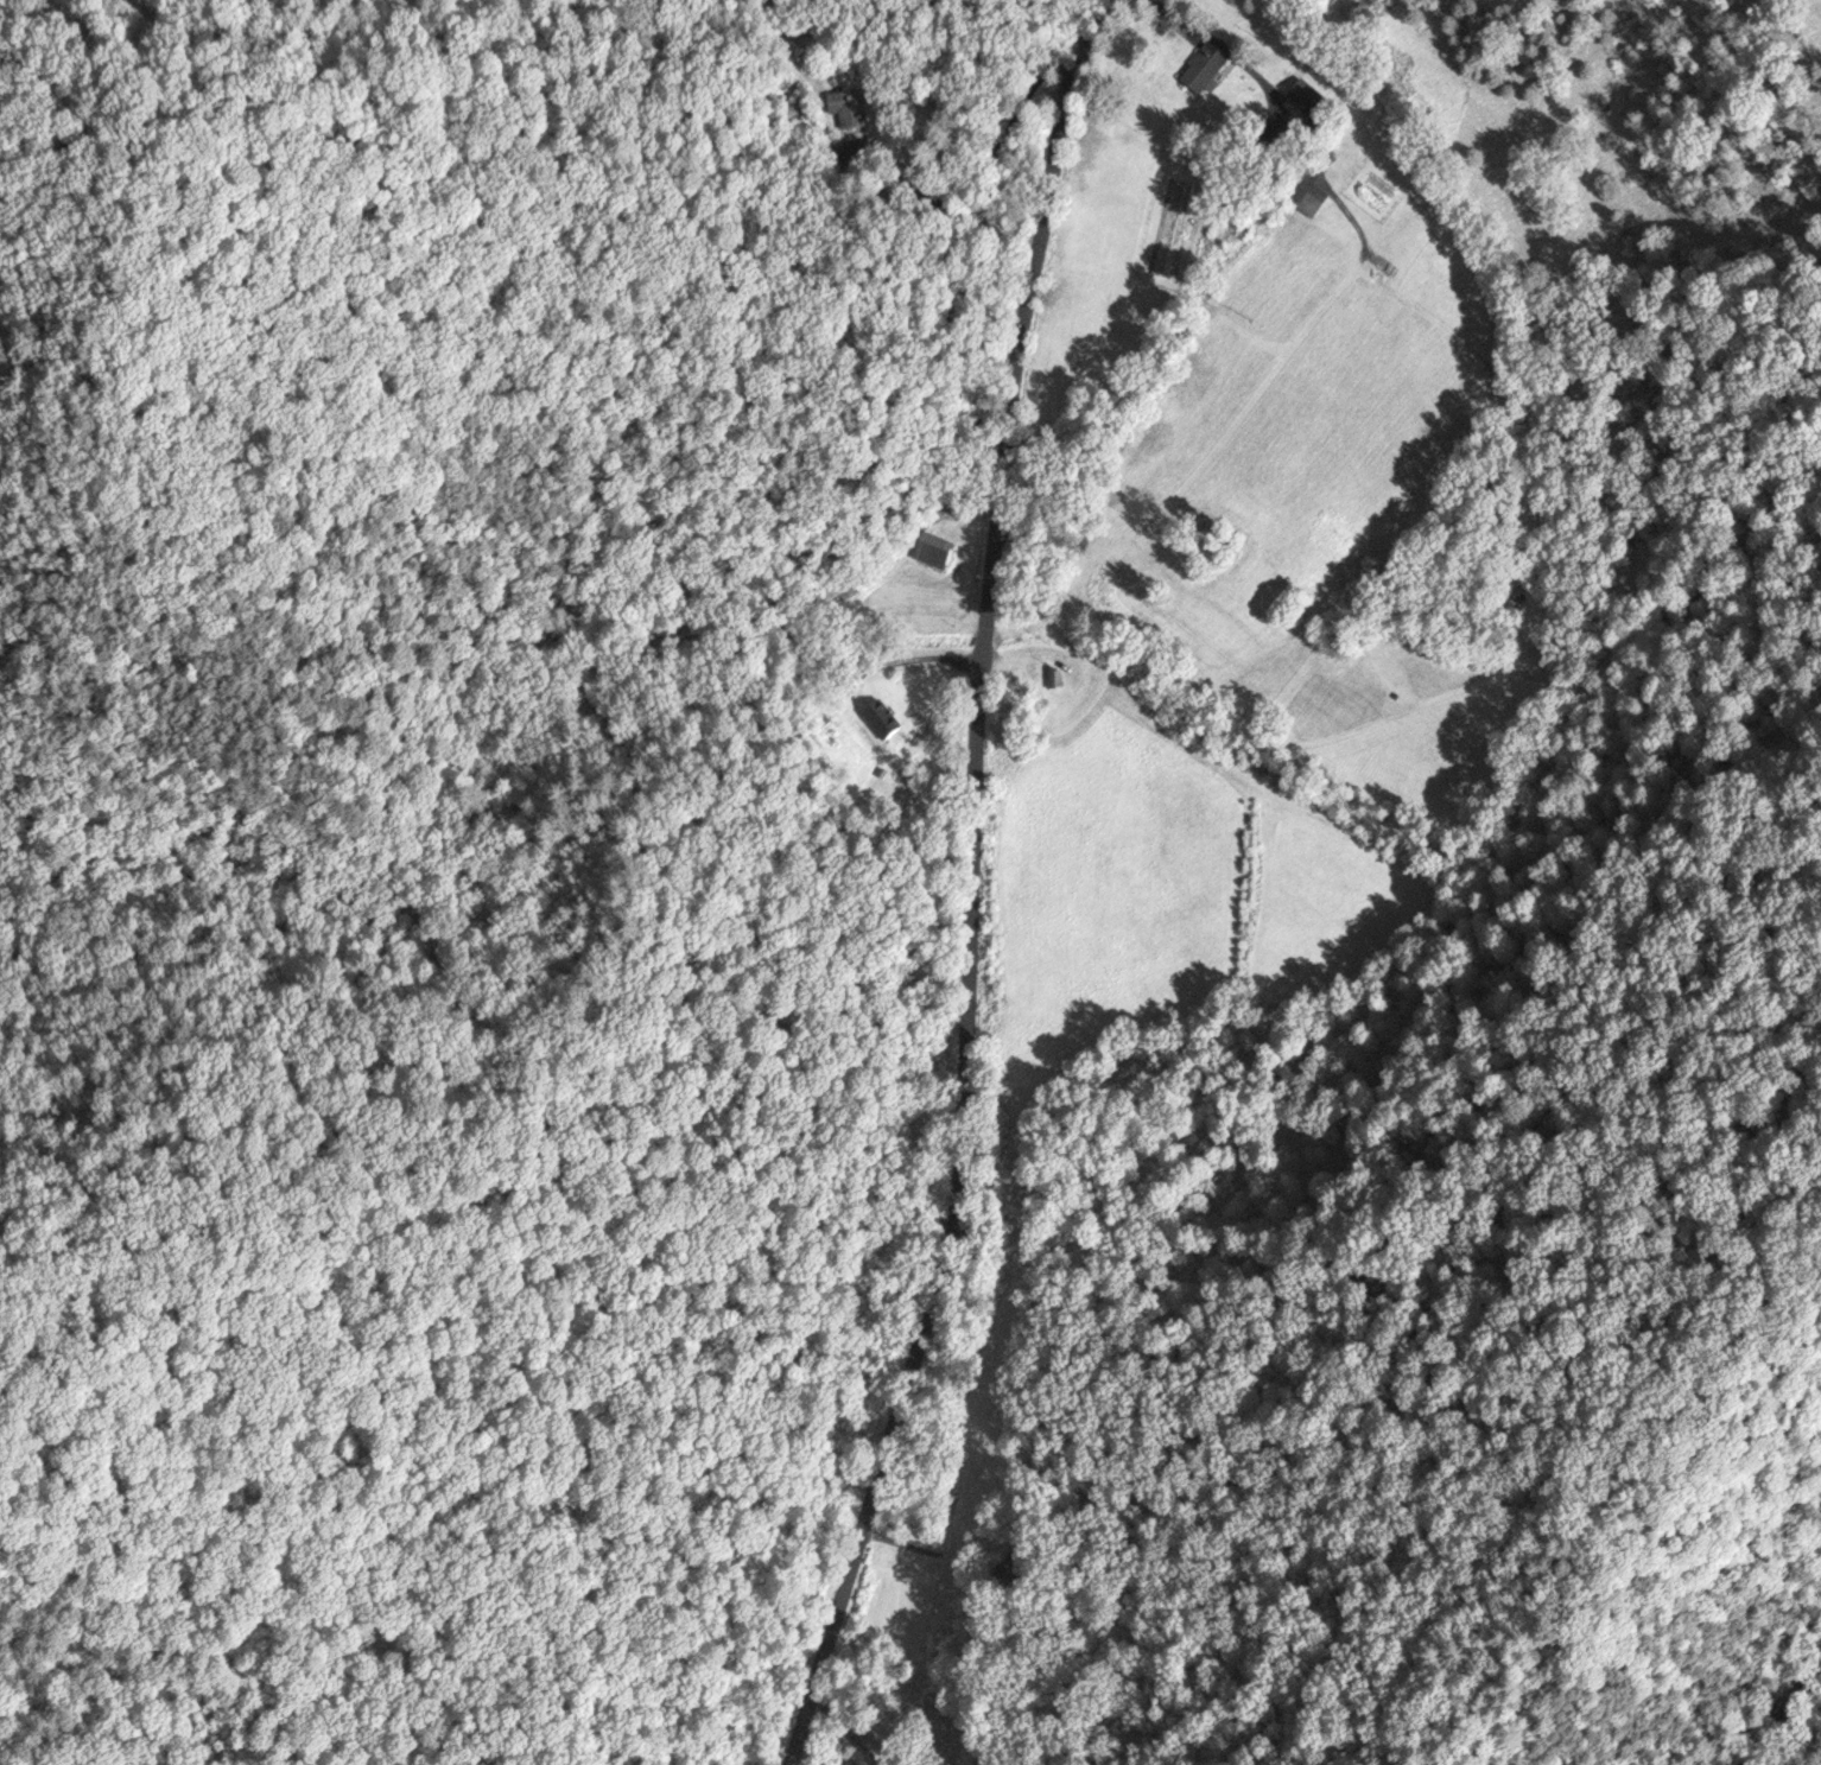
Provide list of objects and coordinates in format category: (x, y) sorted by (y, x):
building: (791, 44)
building: (1200, 66)
building: (1303, 95)
building: (846, 106)
building: (1306, 193)
building: (929, 550)
building: (1053, 677)
building: (878, 723)
road: (519, 808)
road: (972, 884)

